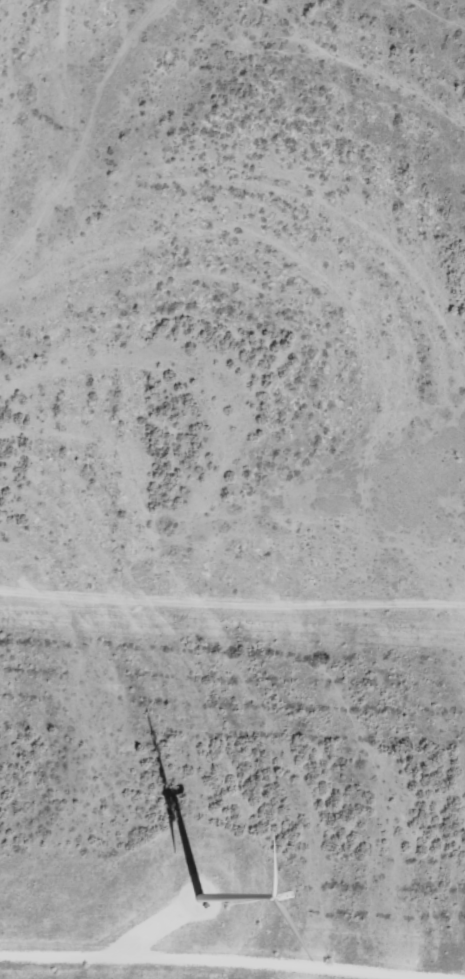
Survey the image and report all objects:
road: (232, 622)
wind turbine: (202, 890)
road: (215, 960)

